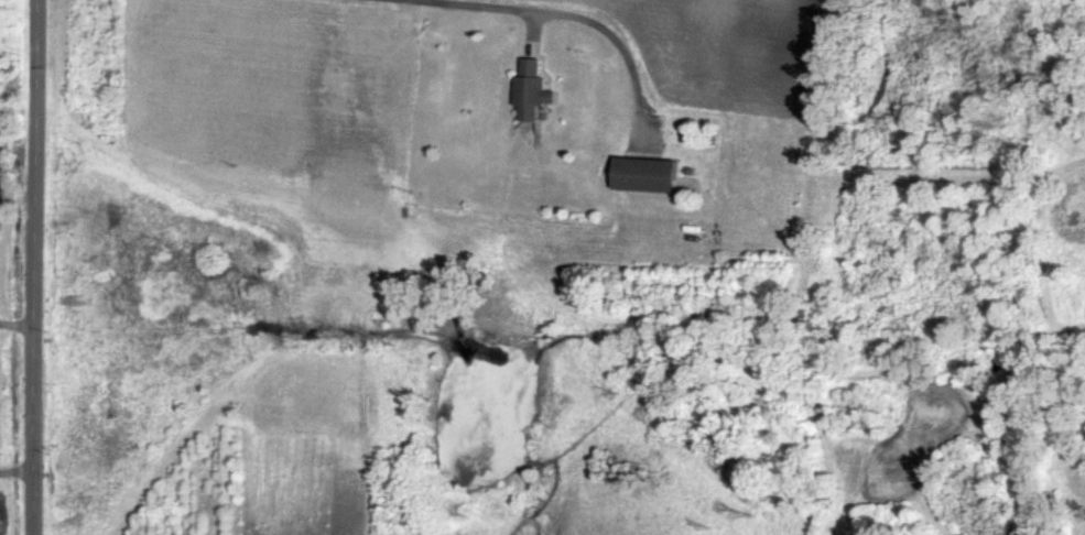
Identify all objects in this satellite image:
road: (576, 13)
building: (534, 89)
building: (649, 173)
road: (41, 266)
road: (20, 321)
road: (20, 468)

